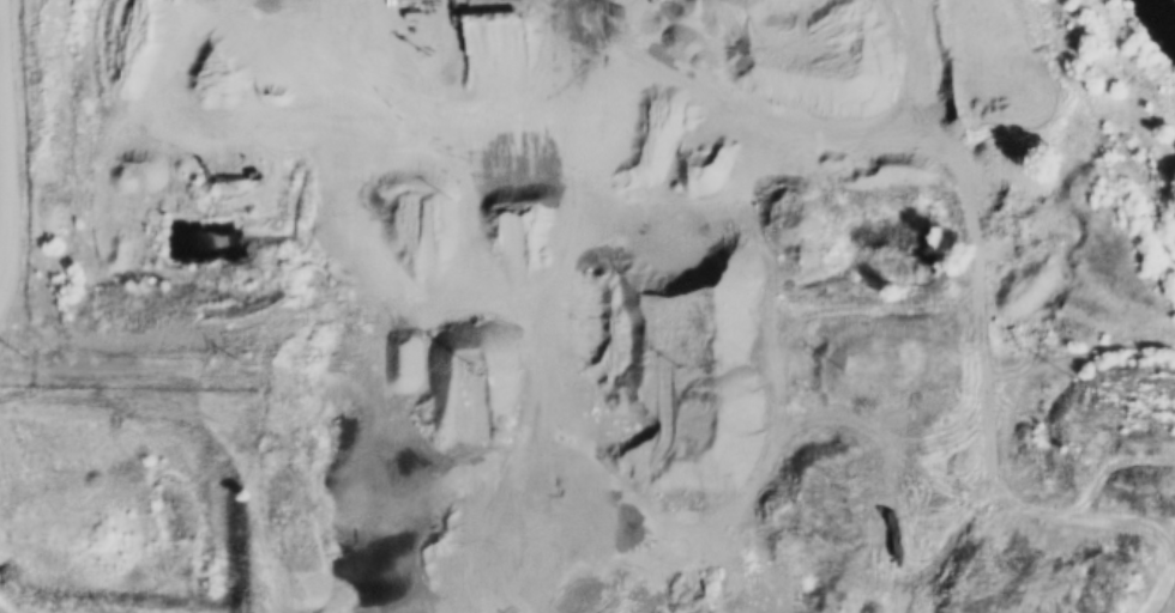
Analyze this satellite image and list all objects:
river: (1161, 19)
quarry: (559, 120)
road: (2, 172)
road: (296, 380)
road: (576, 397)
building: (474, 420)
building: (146, 466)
building: (655, 473)
quarry: (122, 510)
building: (502, 518)
building: (305, 520)
building: (791, 539)
building: (444, 552)
road: (10, 570)

